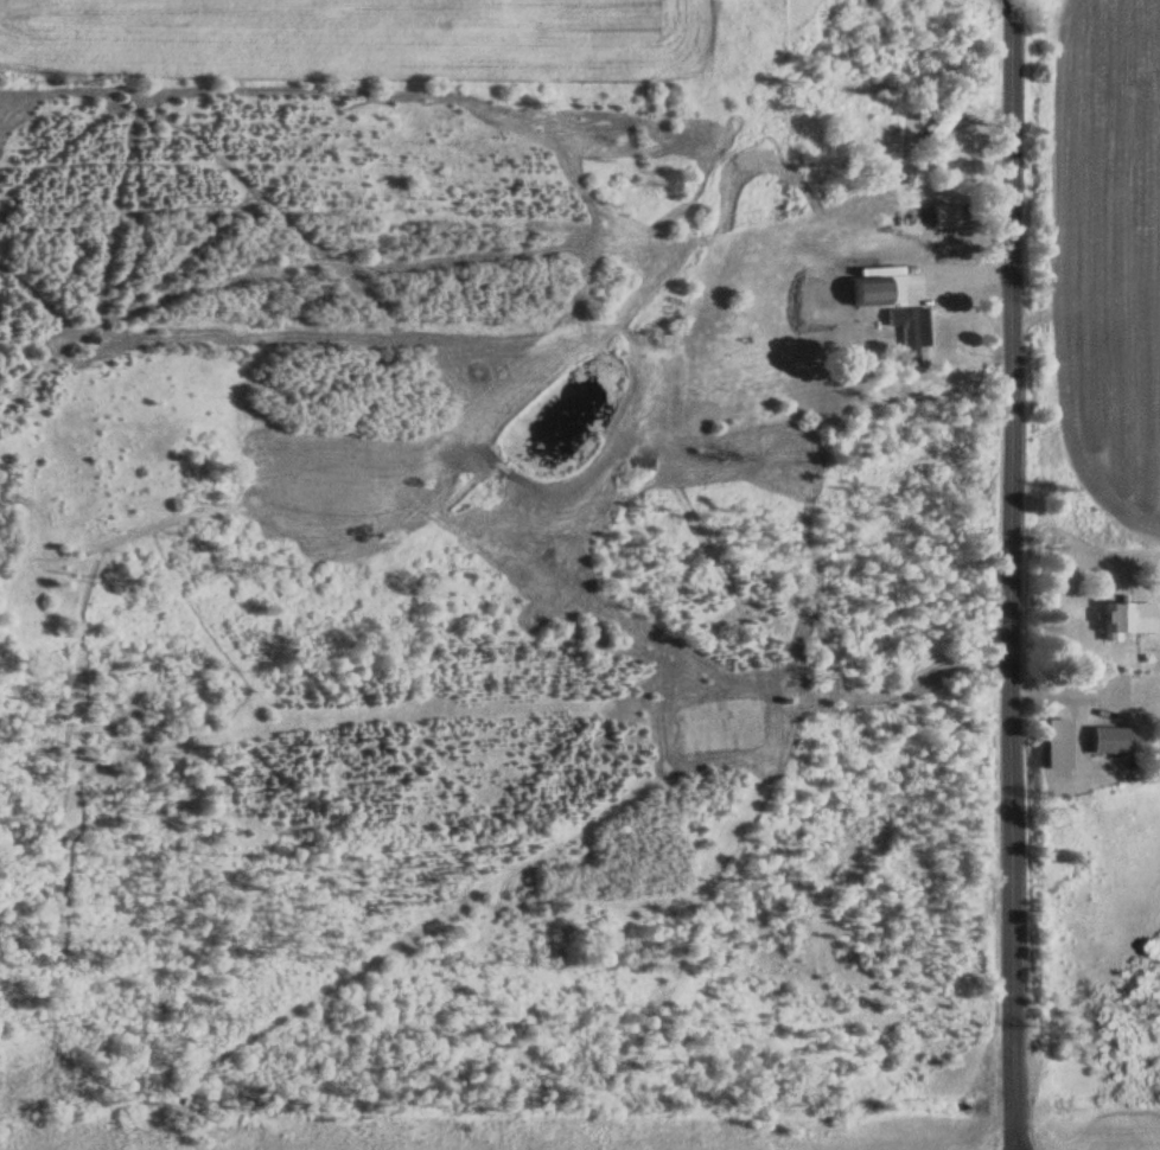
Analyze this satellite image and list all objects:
crop: (352, 33)
building: (941, 126)
building: (956, 216)
crop: (1104, 264)
building: (912, 336)
road: (1013, 575)
building: (1126, 619)
building: (1110, 741)
building: (1057, 745)

